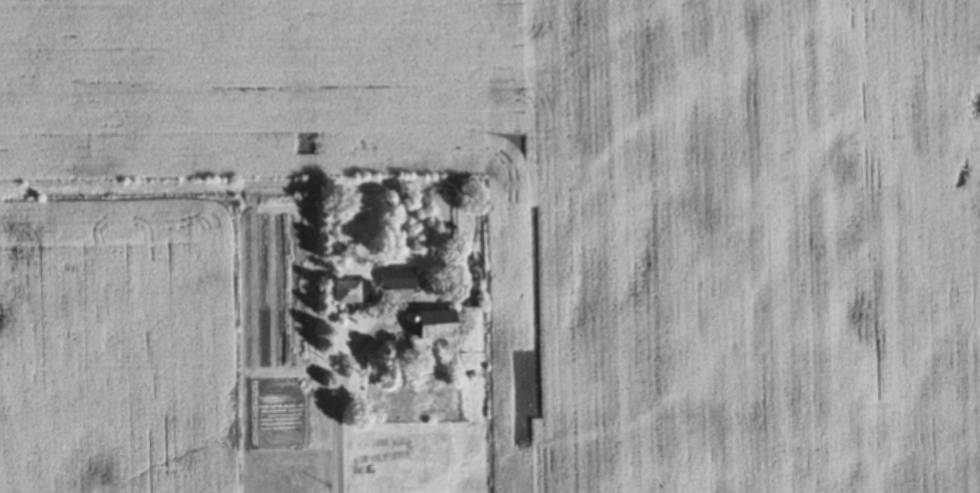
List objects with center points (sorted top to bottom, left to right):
building: (397, 277)
building: (346, 290)
building: (471, 293)
building: (435, 323)

